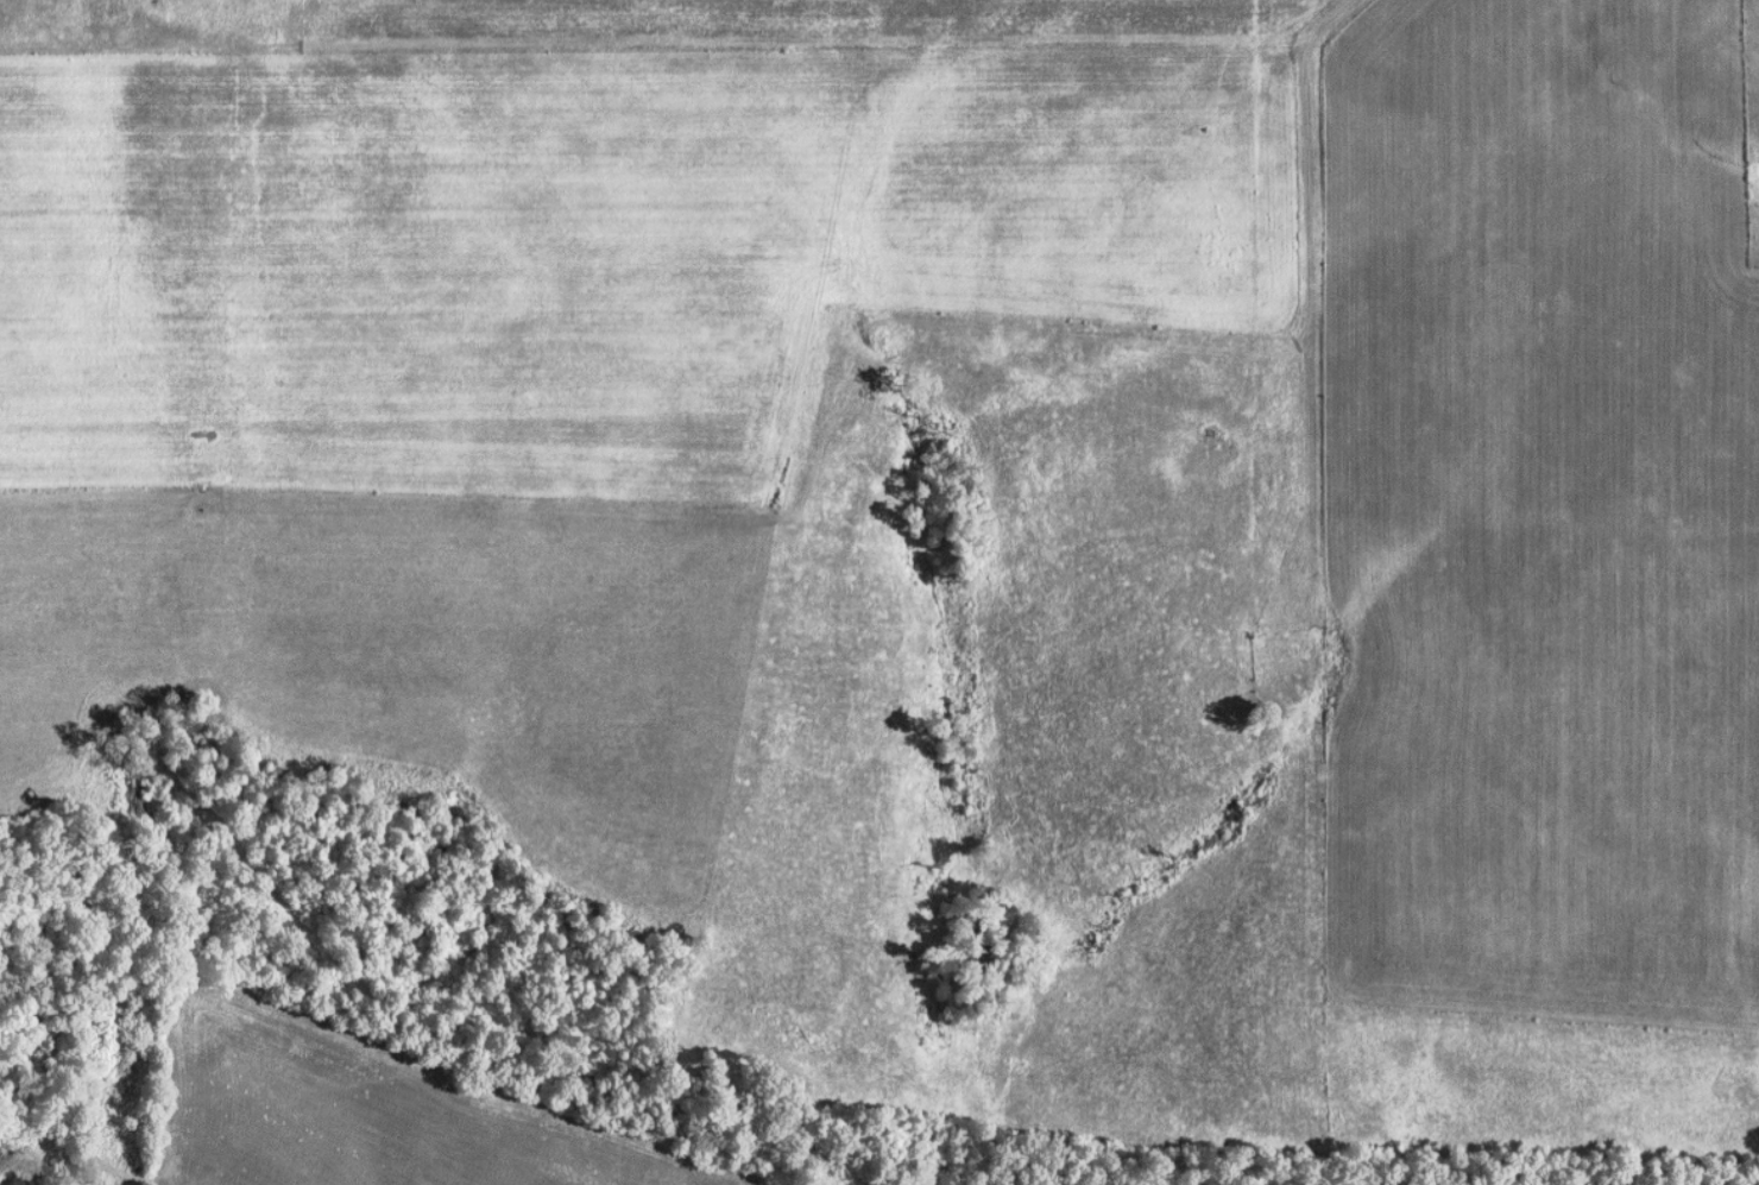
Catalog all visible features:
road: (1323, 259)

